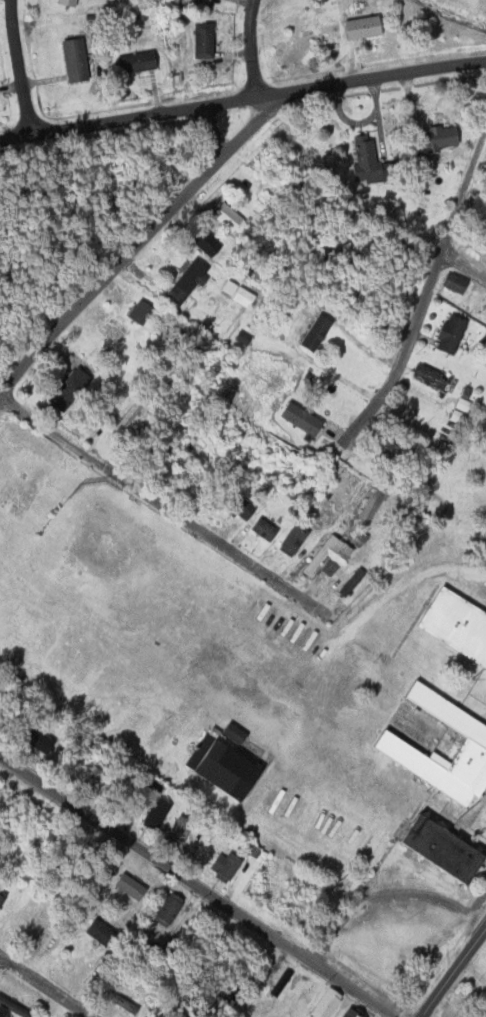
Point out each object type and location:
building: (63, 3)
building: (357, 28)
building: (199, 40)
road: (249, 49)
building: (70, 60)
building: (131, 63)
road: (18, 66)
road: (243, 100)
road: (212, 134)
building: (434, 138)
building: (359, 159)
building: (420, 173)
building: (223, 217)
road: (141, 243)
building: (203, 244)
road: (464, 259)
building: (182, 283)
building: (451, 284)
building: (236, 294)
road: (421, 305)
building: (136, 312)
building: (312, 333)
building: (445, 334)
building: (425, 376)
building: (65, 387)
building: (127, 416)
building: (298, 419)
building: (380, 446)
building: (190, 449)
building: (236, 508)
road: (182, 509)
building: (261, 529)
building: (291, 539)
building: (324, 556)
building: (348, 583)
building: (454, 627)
building: (33, 740)
building: (219, 771)
building: (440, 784)
building: (152, 815)
building: (176, 831)
building: (221, 867)
road: (199, 885)
building: (124, 887)
building: (165, 910)
building: (95, 933)
road: (1, 961)
road: (455, 972)
road: (45, 987)
building: (221, 992)
building: (322, 1004)
building: (118, 1005)
building: (11, 1009)
building: (345, 1014)

